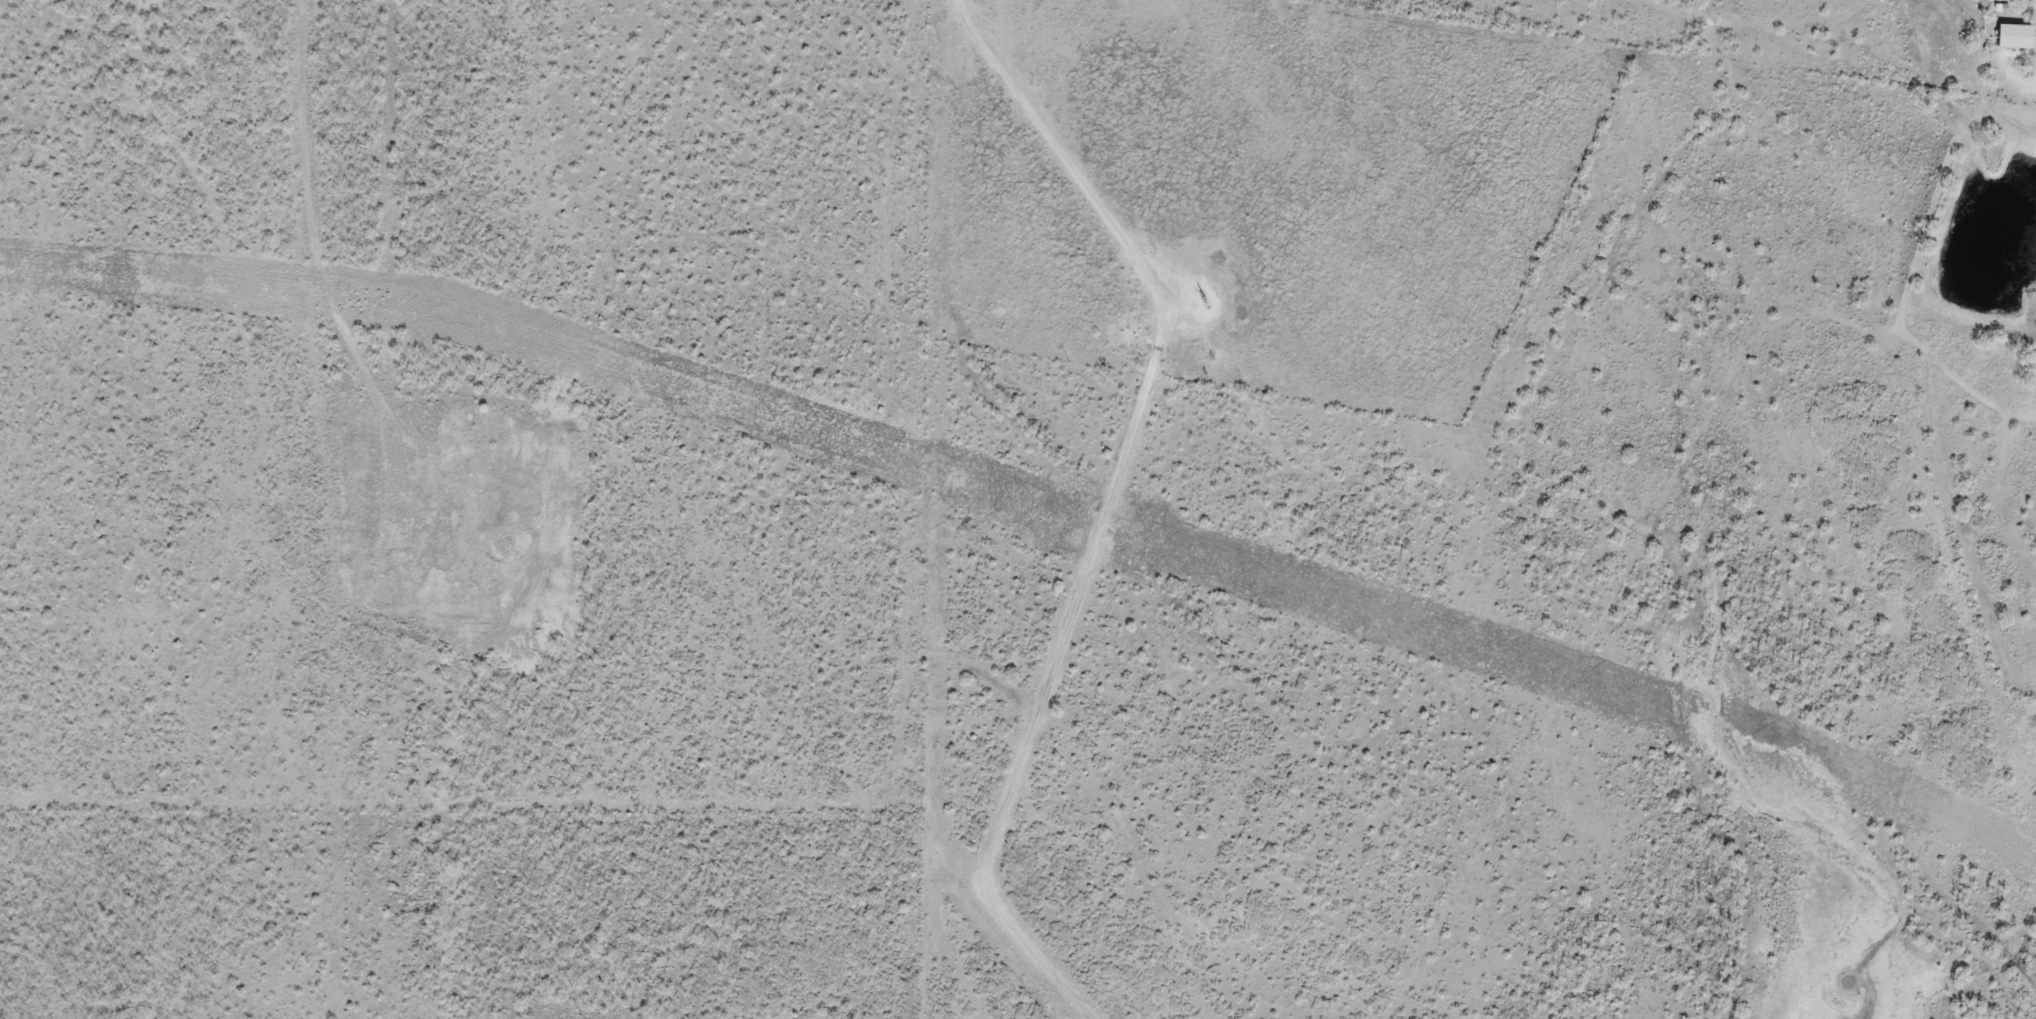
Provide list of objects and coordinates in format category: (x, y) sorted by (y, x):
building: (2016, 35)

